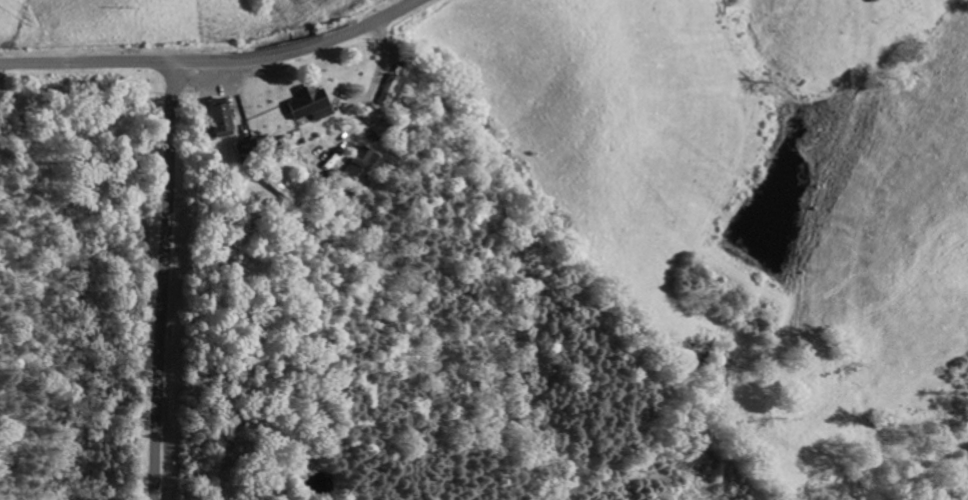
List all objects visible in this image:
road: (210, 59)
building: (304, 104)
building: (214, 118)
building: (357, 160)
road: (158, 279)

